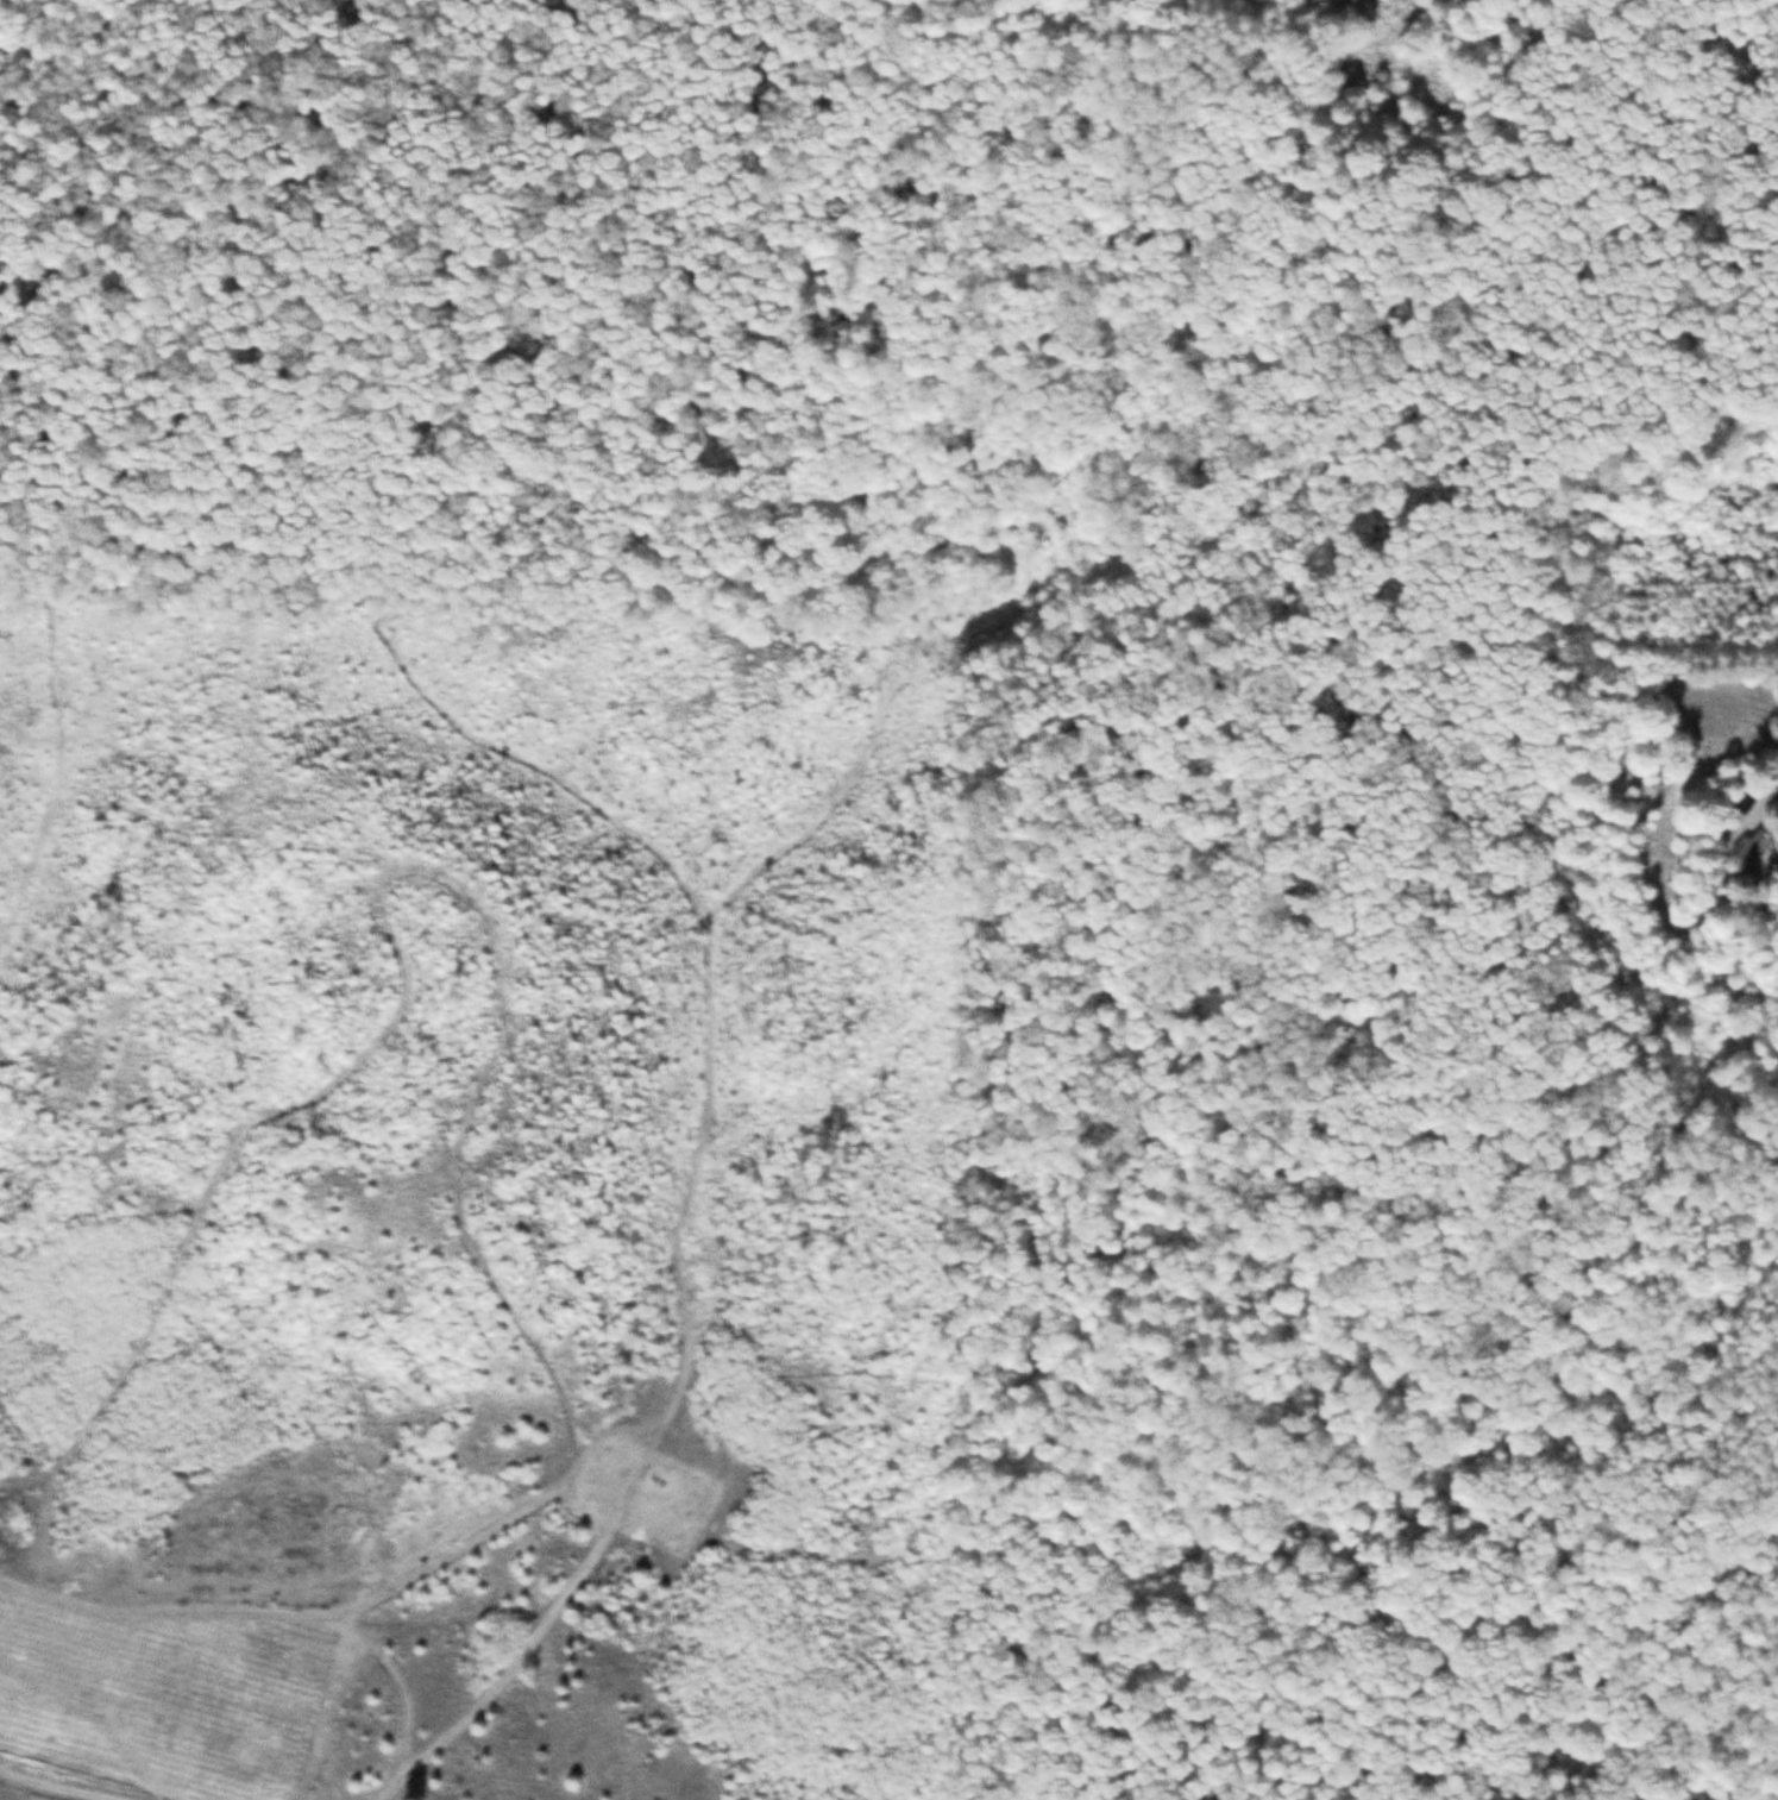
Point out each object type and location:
building: (1746, 795)
building: (1751, 846)

